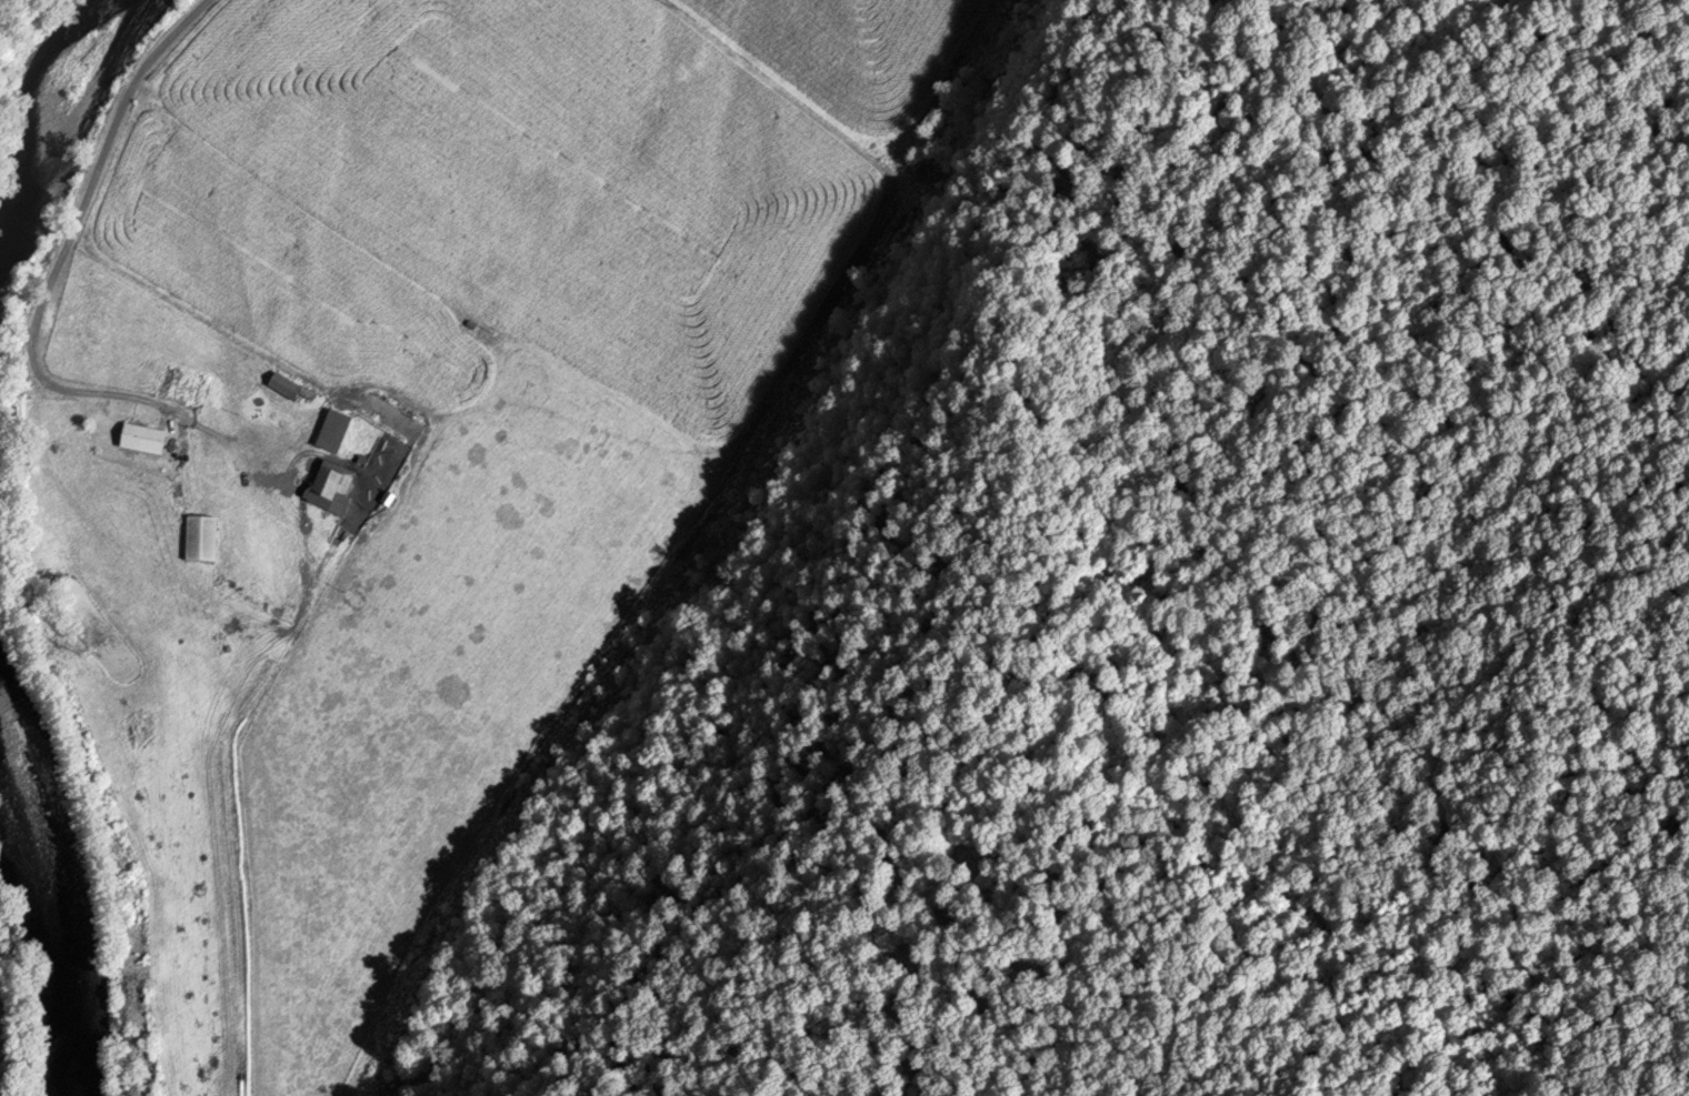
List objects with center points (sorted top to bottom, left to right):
crop: (857, 60)
river: (50, 97)
crop: (570, 177)
road: (68, 244)
building: (286, 386)
building: (336, 431)
building: (146, 441)
building: (334, 486)
building: (203, 541)
crop: (388, 557)
river: (69, 852)
crop: (3, 1040)

